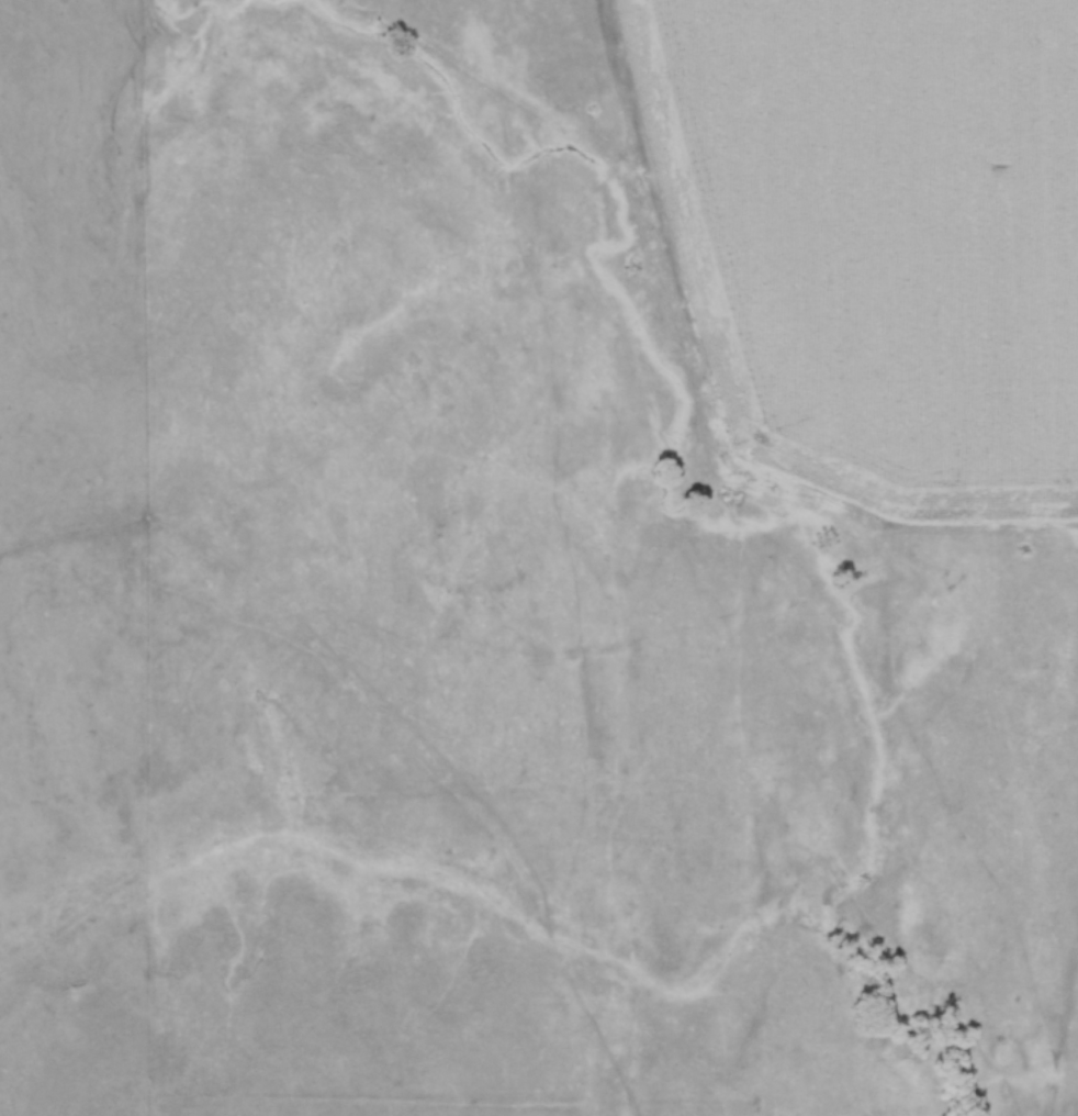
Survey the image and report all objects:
crop: (879, 237)

